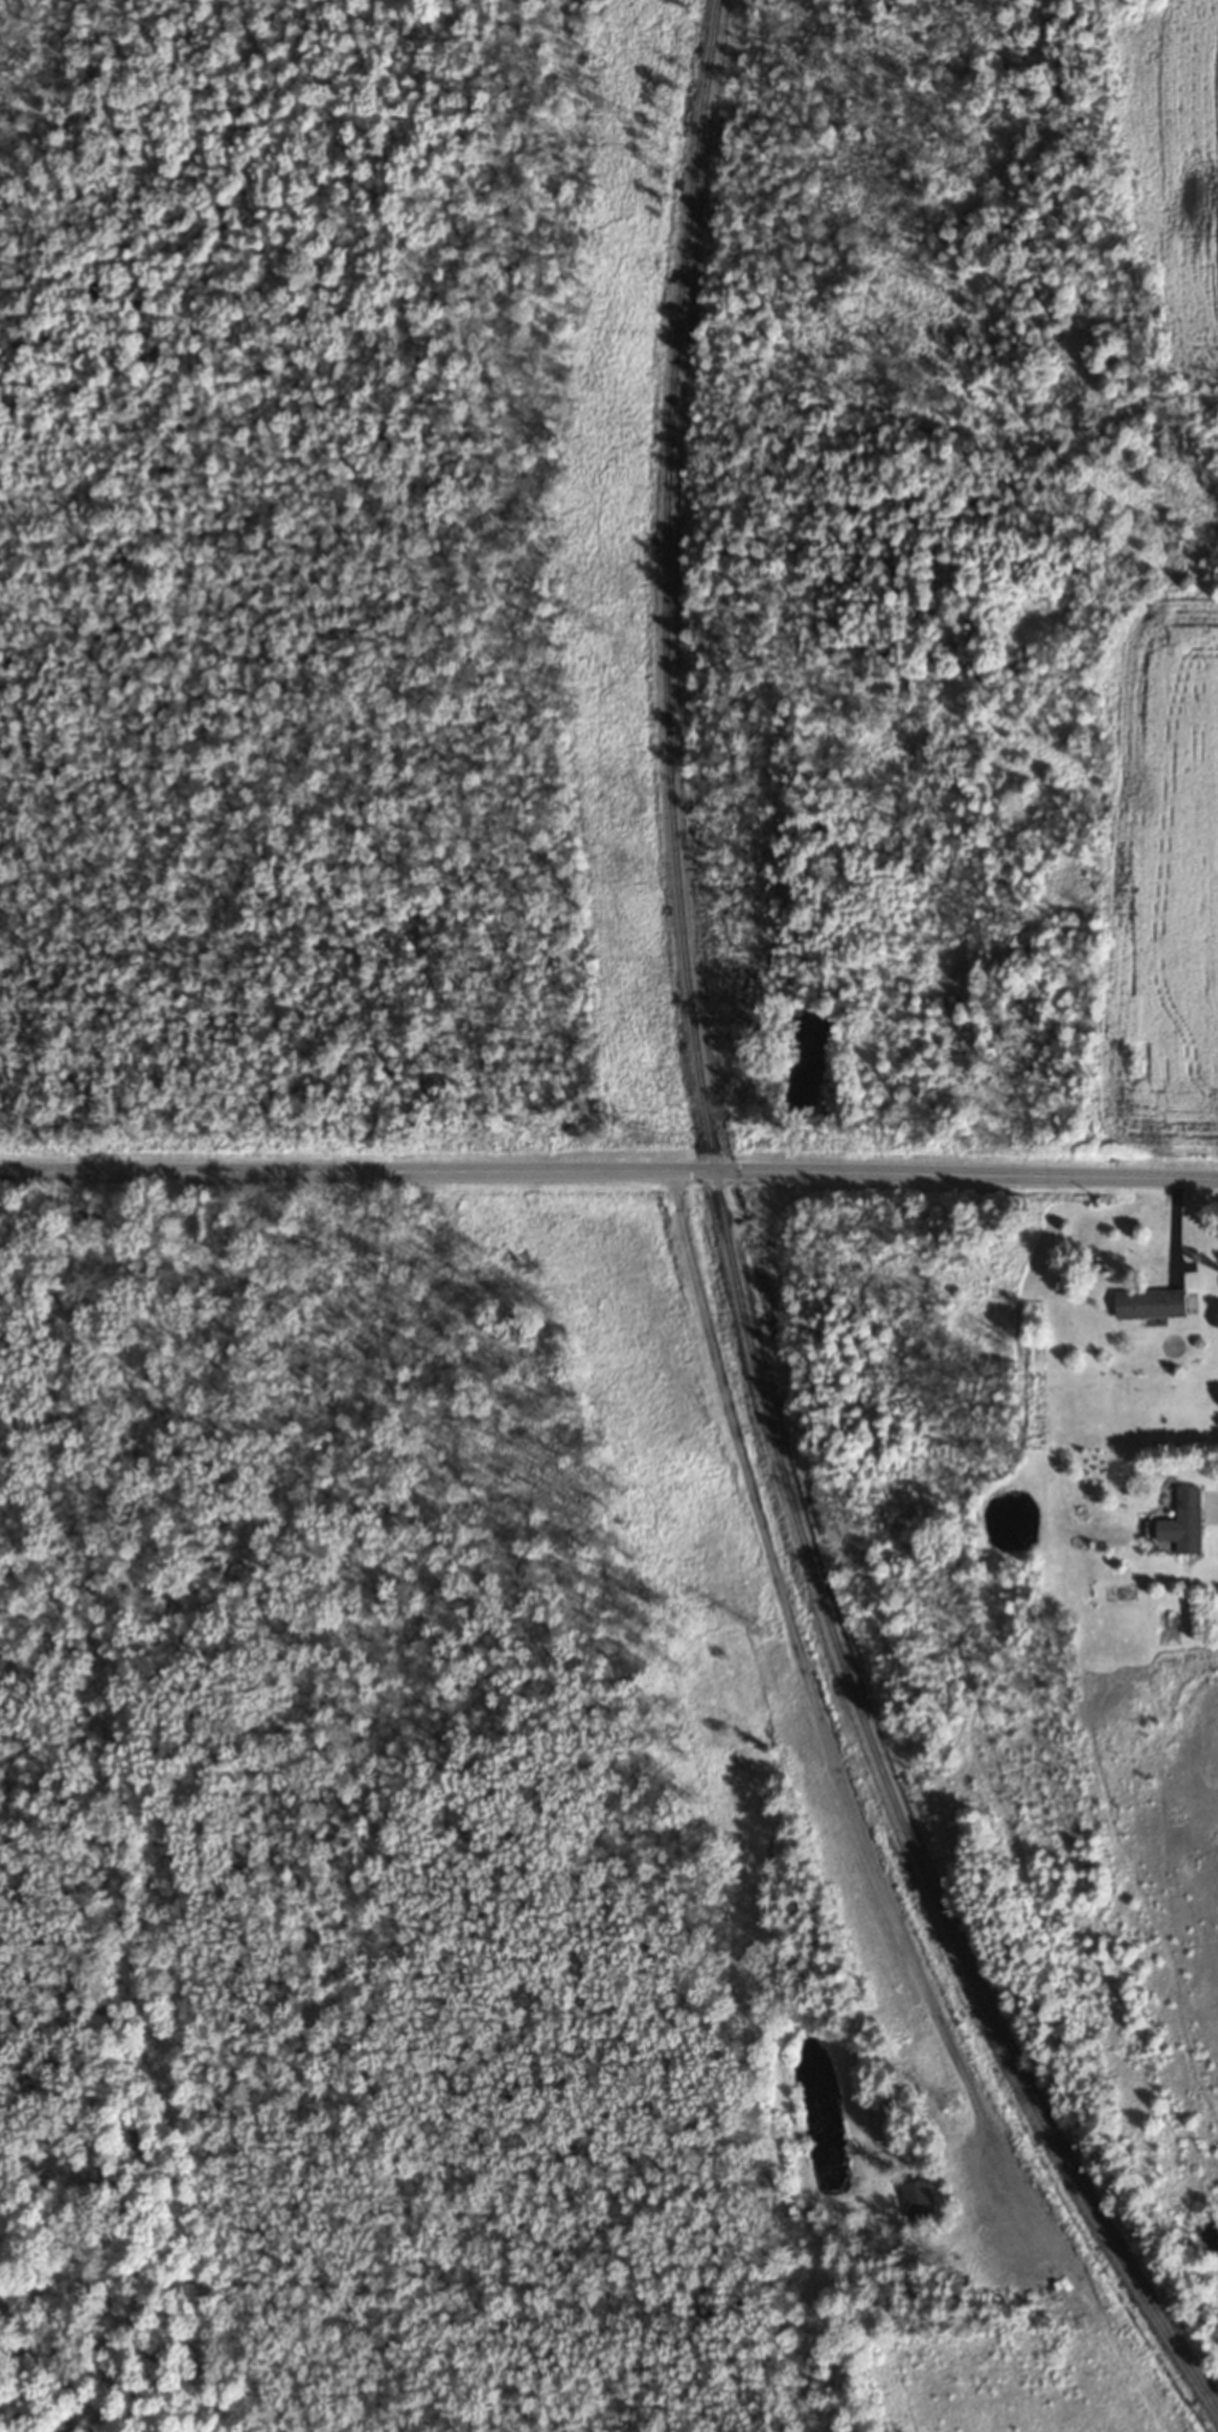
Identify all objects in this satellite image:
road: (608, 1169)
railway: (732, 1252)
building: (1153, 1301)
building: (1192, 1517)
building: (915, 2196)

